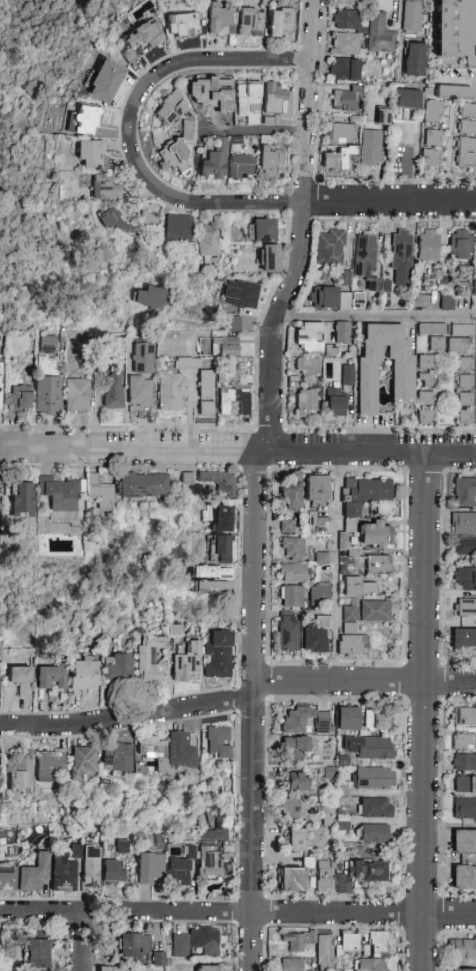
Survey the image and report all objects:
building: (351, 1)
building: (412, 16)
building: (220, 18)
building: (277, 20)
building: (346, 20)
building: (250, 21)
building: (182, 25)
building: (455, 29)
building: (379, 34)
building: (141, 38)
building: (345, 44)
building: (415, 56)
building: (345, 69)
road: (460, 76)
building: (106, 81)
building: (210, 92)
building: (276, 97)
building: (407, 99)
building: (445, 99)
building: (344, 100)
building: (248, 101)
building: (170, 108)
building: (468, 110)
building: (226, 116)
building: (383, 118)
building: (85, 120)
building: (467, 127)
road: (129, 128)
road: (262, 132)
building: (342, 134)
building: (433, 138)
building: (371, 148)
building: (177, 151)
building: (467, 152)
building: (91, 154)
building: (339, 158)
building: (430, 158)
building: (215, 161)
building: (269, 163)
building: (241, 168)
building: (105, 188)
road: (475, 189)
road: (390, 202)
building: (114, 219)
building: (148, 221)
road: (303, 227)
building: (178, 228)
building: (264, 230)
building: (207, 243)
building: (428, 245)
building: (460, 245)
building: (329, 247)
building: (401, 249)
building: (271, 259)
building: (366, 259)
building: (464, 273)
building: (343, 276)
building: (386, 286)
building: (473, 286)
building: (463, 290)
building: (243, 294)
building: (152, 296)
building: (326, 298)
building: (421, 301)
building: (447, 302)
building: (357, 304)
road: (377, 314)
building: (232, 322)
building: (431, 329)
building: (342, 332)
building: (309, 337)
building: (460, 338)
building: (437, 344)
building: (47, 345)
building: (217, 347)
building: (143, 358)
building: (426, 362)
building: (188, 363)
building: (466, 364)
building: (307, 366)
building: (347, 375)
building: (426, 380)
building: (466, 382)
building: (403, 383)
building: (206, 384)
building: (0, 386)
building: (113, 388)
building: (140, 391)
building: (171, 391)
building: (48, 394)
building: (77, 395)
building: (19, 398)
building: (426, 398)
building: (465, 399)
building: (234, 401)
building: (306, 402)
building: (336, 402)
building: (206, 408)
building: (425, 416)
building: (466, 417)
road: (238, 449)
building: (186, 478)
building: (215, 482)
building: (143, 485)
building: (317, 488)
building: (465, 492)
building: (60, 493)
building: (100, 493)
building: (291, 496)
building: (363, 497)
building: (21, 499)
building: (224, 516)
building: (320, 521)
building: (464, 523)
building: (287, 526)
building: (375, 536)
building: (342, 539)
building: (222, 545)
building: (464, 546)
building: (294, 549)
building: (322, 558)
building: (378, 564)
road: (334, 566)
road: (254, 570)
building: (211, 572)
building: (293, 573)
building: (465, 579)
building: (211, 587)
building: (358, 587)
building: (320, 592)
building: (292, 596)
building: (465, 608)
building: (375, 611)
building: (350, 619)
building: (174, 630)
building: (288, 633)
building: (317, 636)
building: (464, 640)
building: (351, 645)
building: (218, 655)
building: (149, 659)
building: (187, 661)
building: (117, 667)
building: (84, 675)
building: (51, 677)
building: (21, 679)
road: (238, 699)
road: (422, 710)
building: (463, 717)
building: (347, 719)
building: (296, 720)
building: (323, 720)
building: (379, 721)
building: (218, 742)
building: (464, 742)
building: (295, 748)
building: (371, 748)
building: (152, 751)
building: (181, 751)
building: (117, 758)
building: (82, 762)
building: (50, 763)
building: (464, 763)
building: (20, 774)
building: (373, 778)
building: (301, 782)
building: (465, 785)
building: (295, 808)
building: (376, 808)
building: (464, 809)
building: (327, 816)
building: (343, 826)
building: (217, 827)
road: (251, 830)
building: (374, 833)
building: (296, 840)
building: (464, 842)
building: (122, 846)
building: (210, 863)
building: (150, 867)
building: (90, 868)
building: (64, 870)
building: (113, 870)
building: (179, 871)
building: (363, 873)
building: (34, 874)
building: (325, 877)
building: (464, 877)
building: (7, 879)
building: (291, 879)
road: (41, 910)
road: (294, 912)
road: (82, 941)
building: (196, 942)
building: (349, 942)
building: (377, 943)
building: (133, 946)
building: (293, 949)
building: (462, 949)
building: (37, 954)
building: (156, 957)
building: (290, 965)
building: (370, 965)
building: (207, 968)
building: (115, 969)
building: (462, 970)

